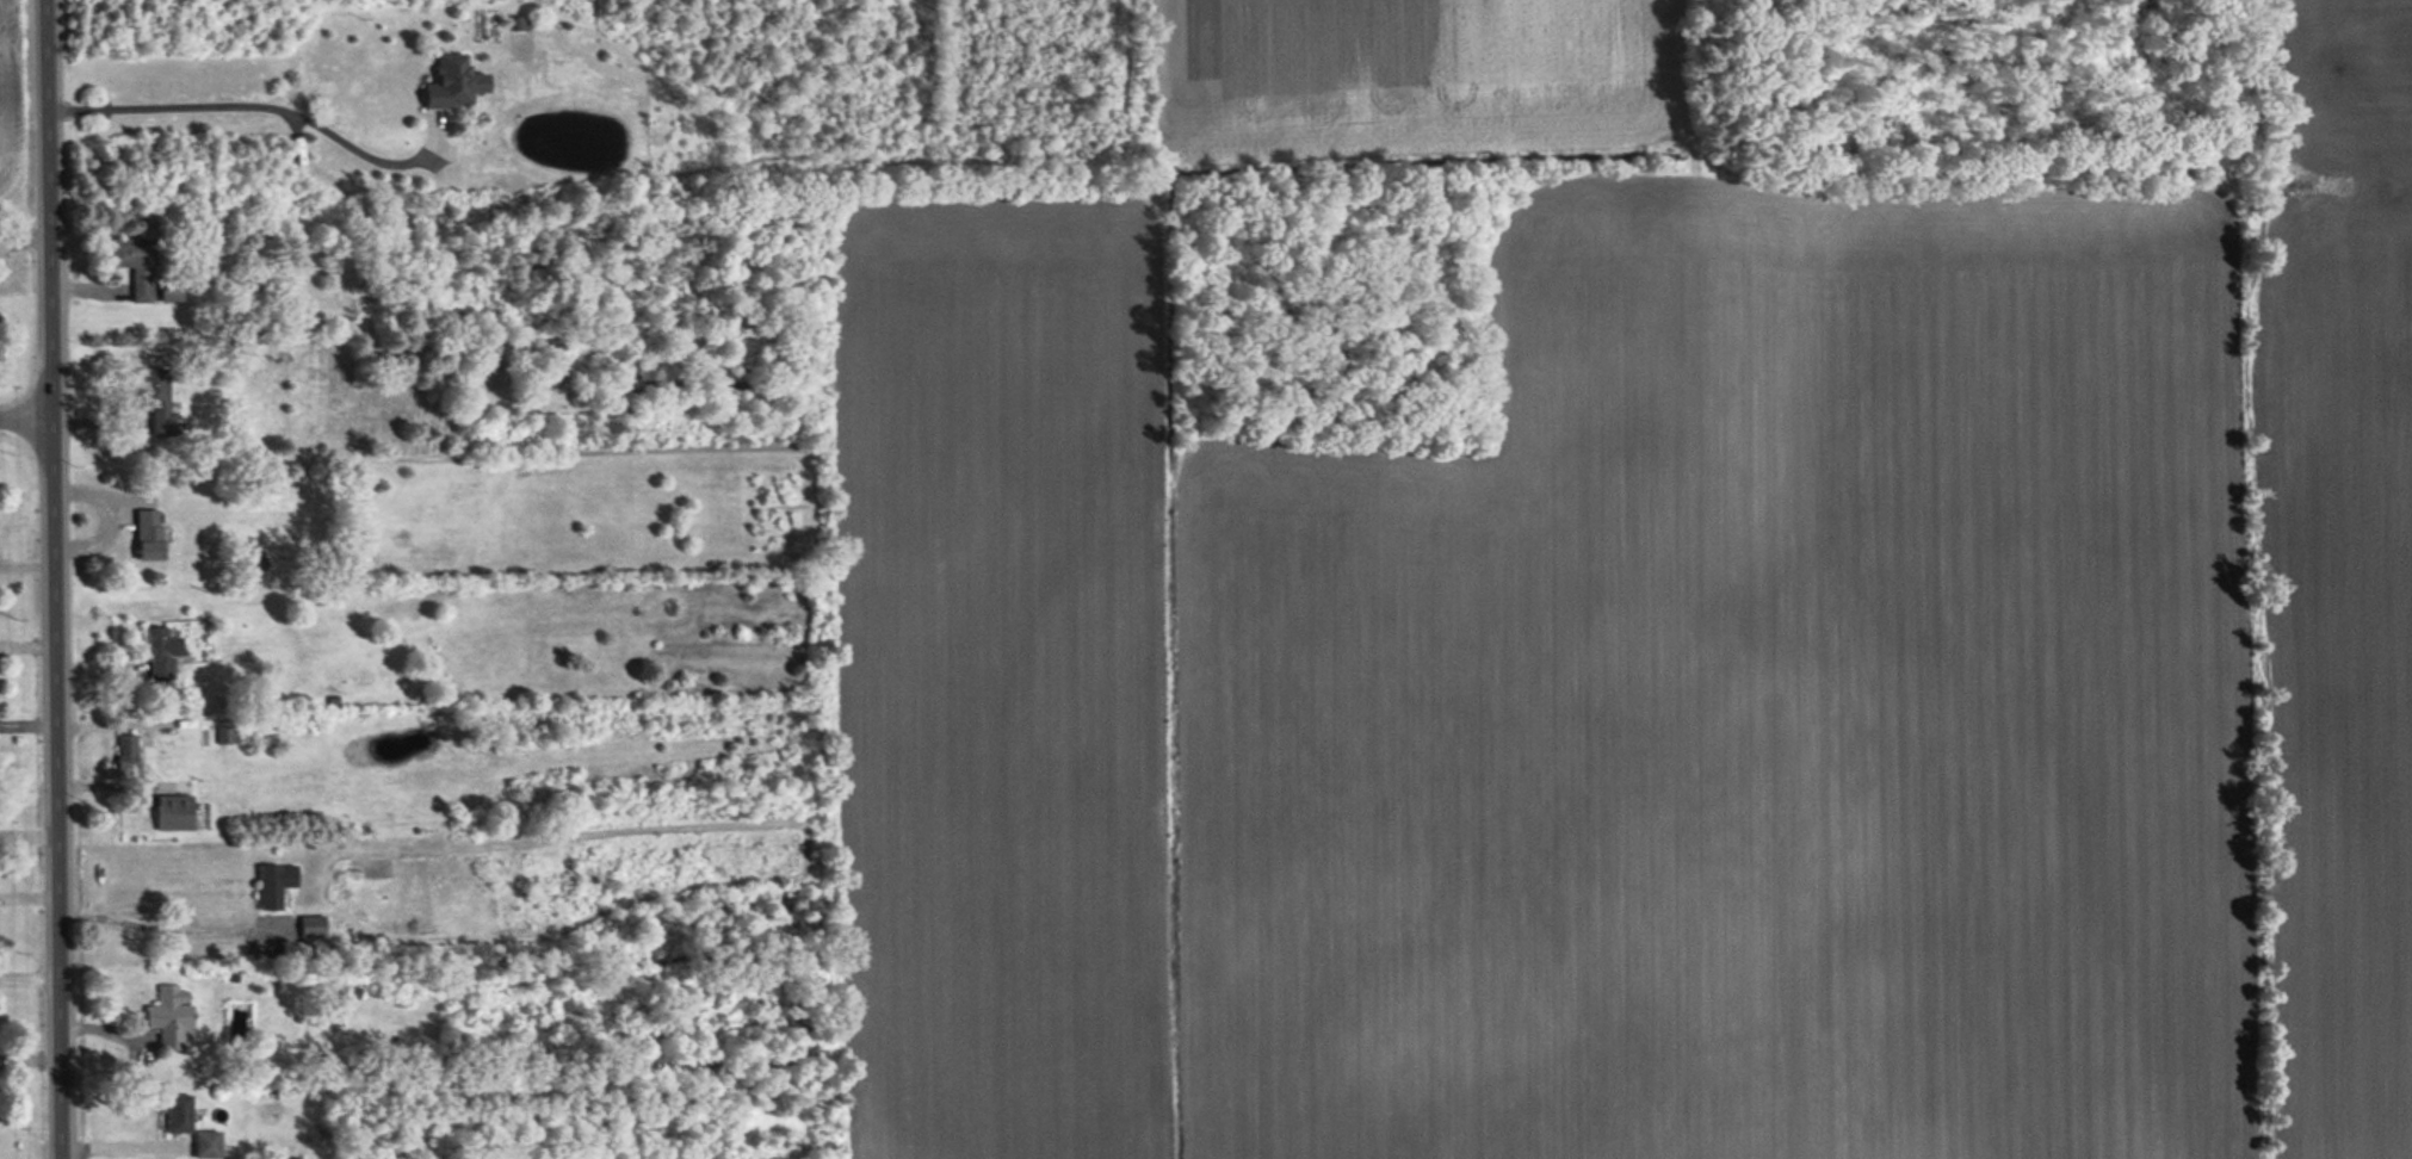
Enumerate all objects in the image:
building: (453, 82)
road: (251, 116)
building: (135, 265)
building: (168, 291)
building: (155, 401)
road: (26, 415)
road: (106, 527)
building: (147, 534)
road: (54, 578)
building: (159, 652)
road: (129, 732)
building: (227, 735)
building: (125, 752)
building: (173, 812)
building: (273, 885)
building: (311, 926)
road: (166, 931)
building: (169, 1016)
building: (178, 1114)
building: (206, 1145)

